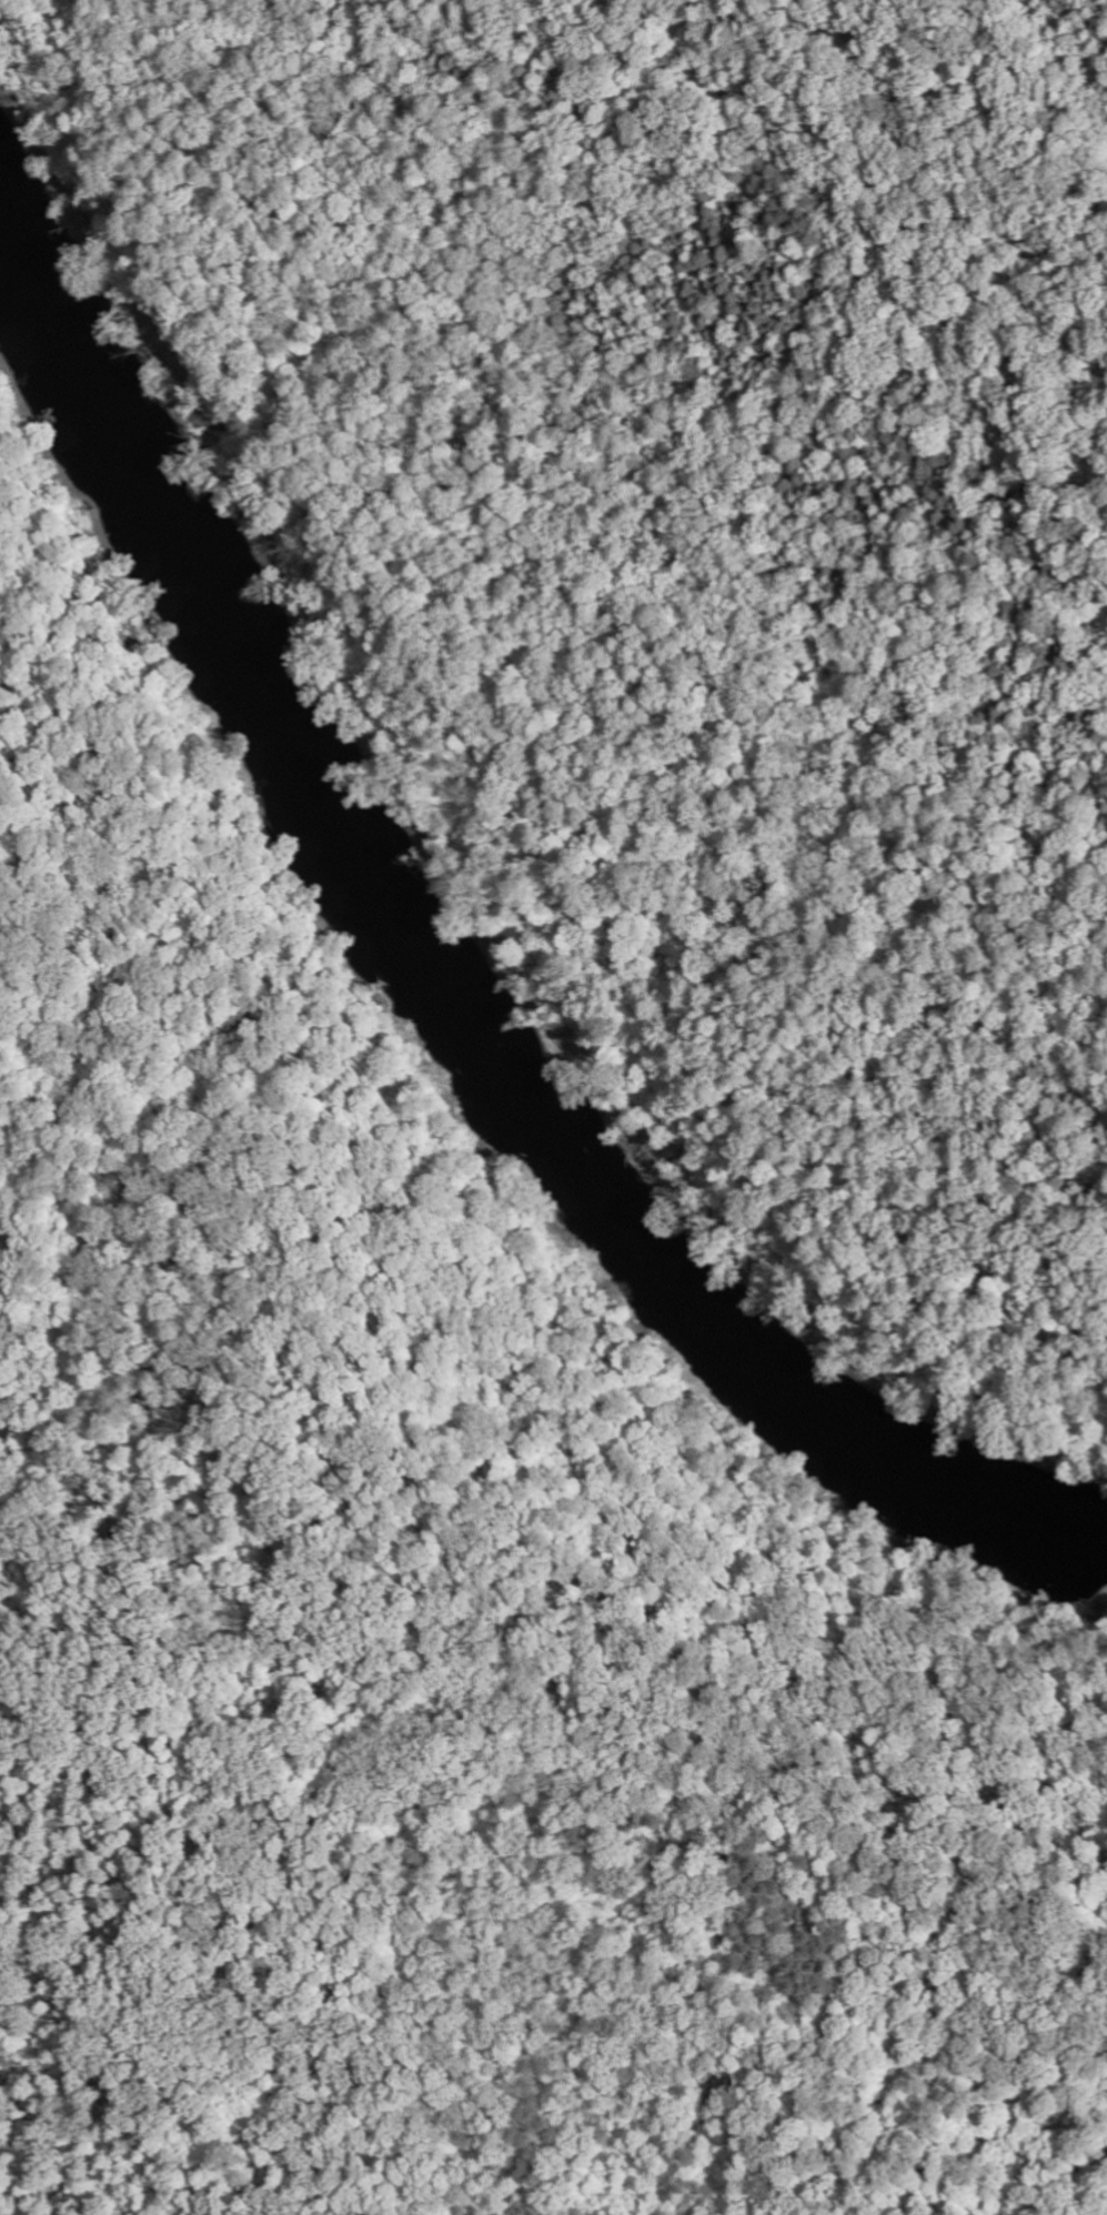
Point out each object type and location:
road: (907, 285)
river: (485, 907)

